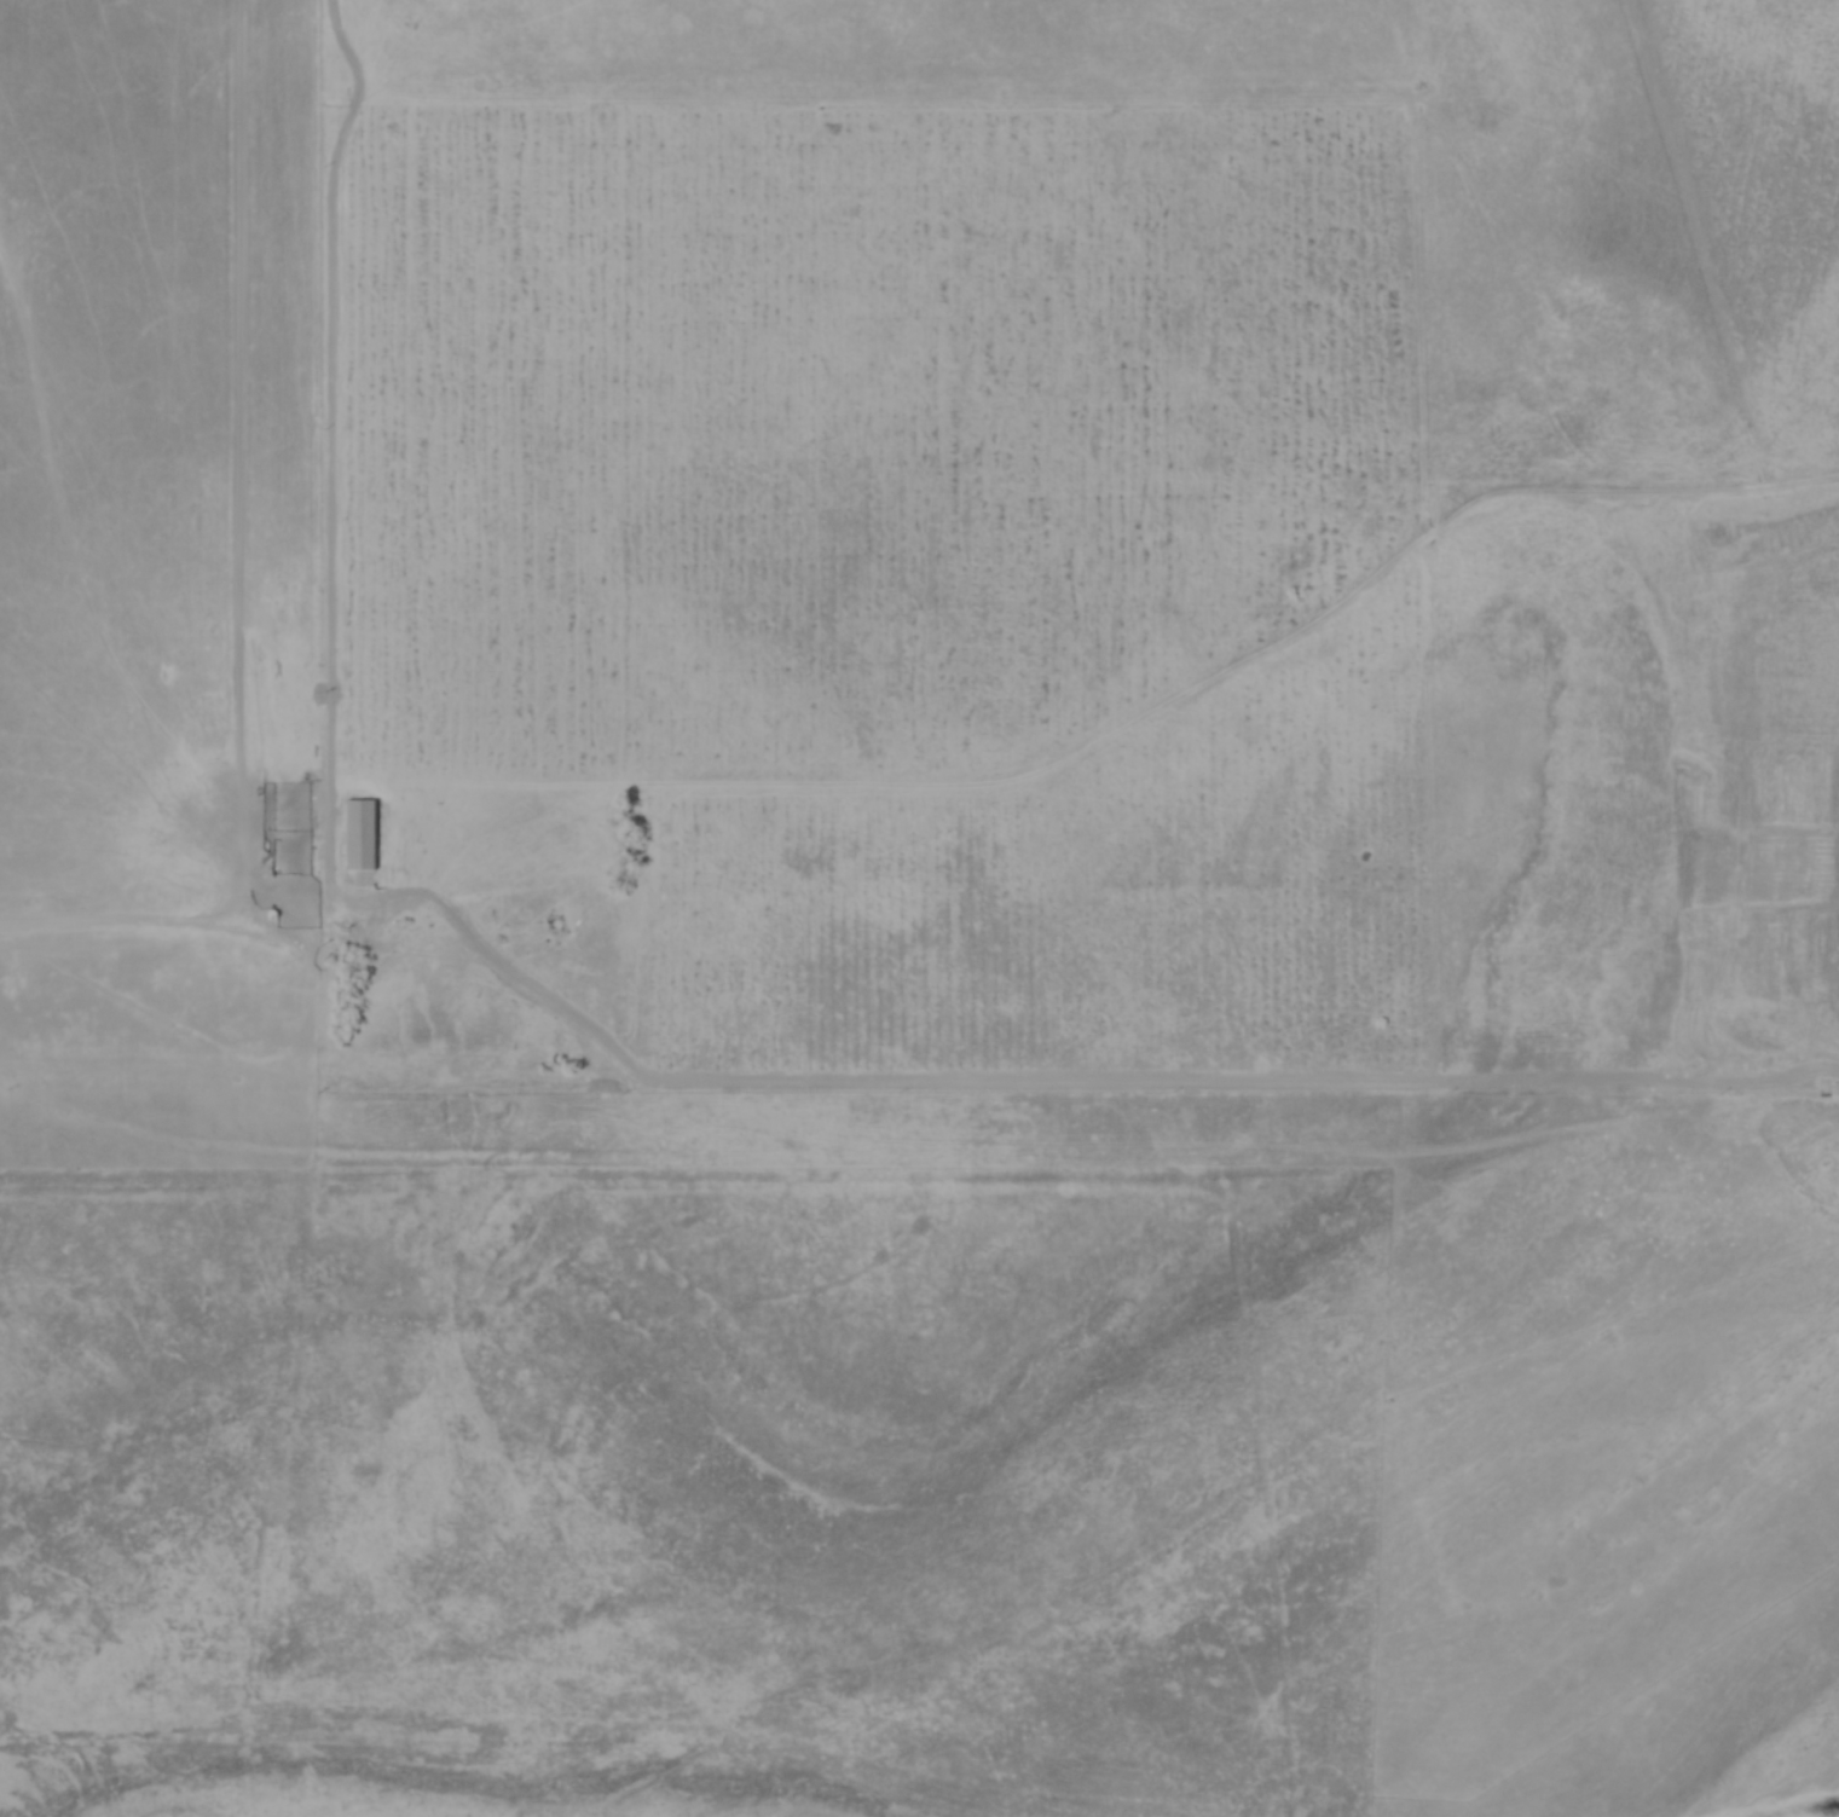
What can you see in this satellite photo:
crop: (1754, 190)
crop: (875, 542)
building: (352, 831)
quarry: (1834, 918)
park: (696, 1505)
quarry: (1805, 1793)

